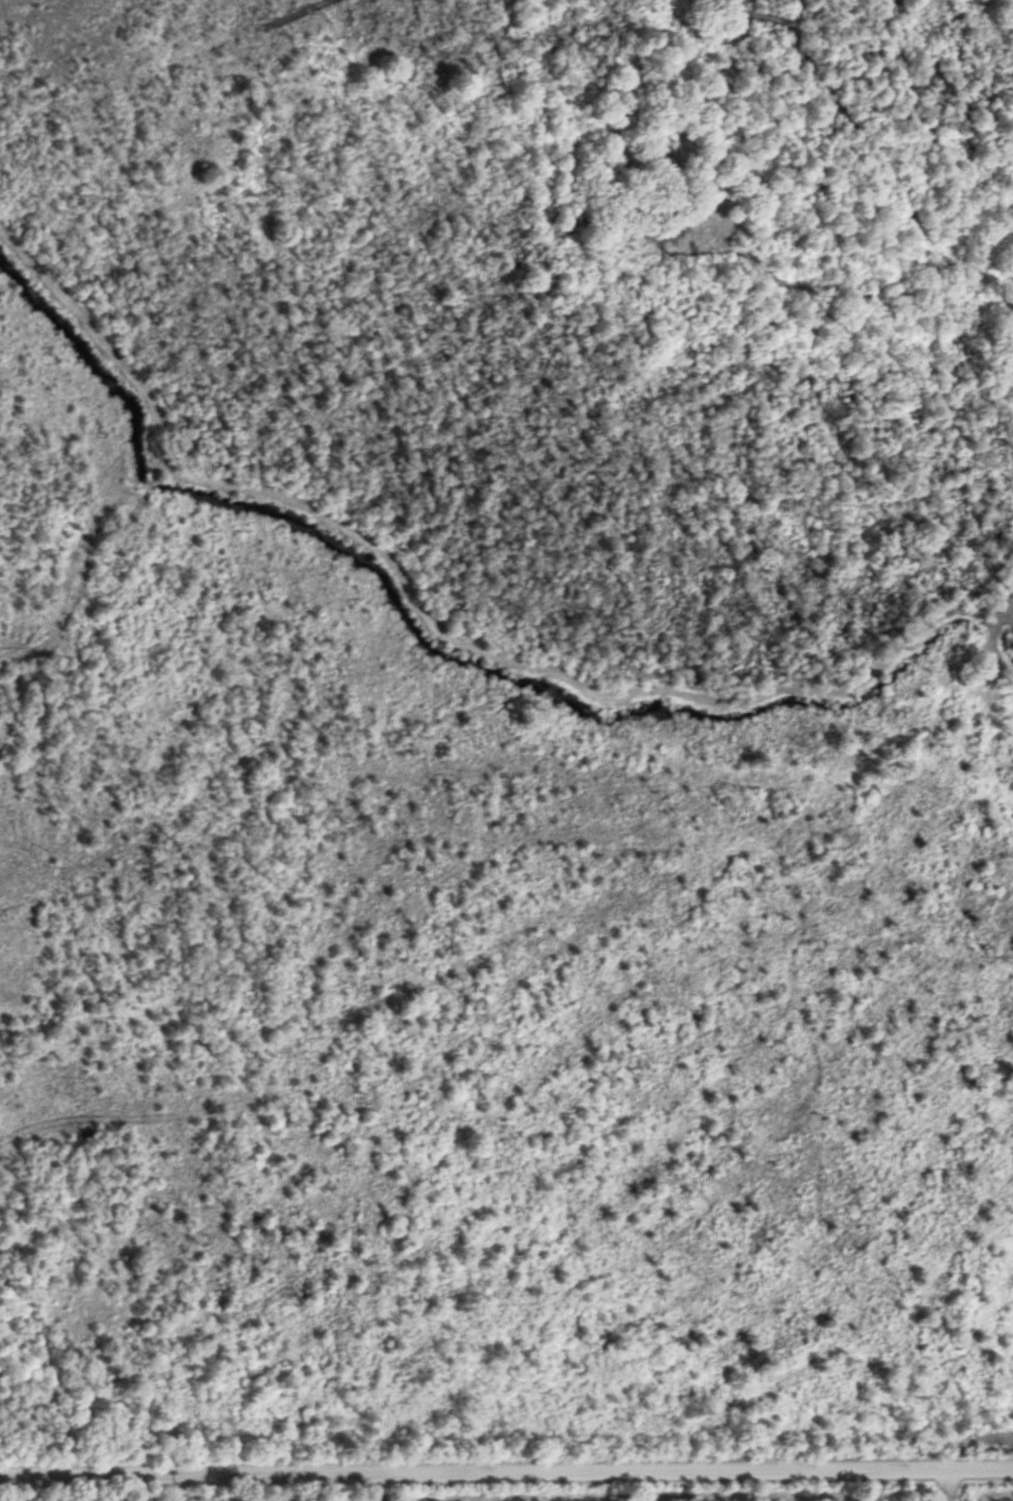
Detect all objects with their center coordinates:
road: (446, 623)
road: (506, 1470)
road: (945, 1483)

